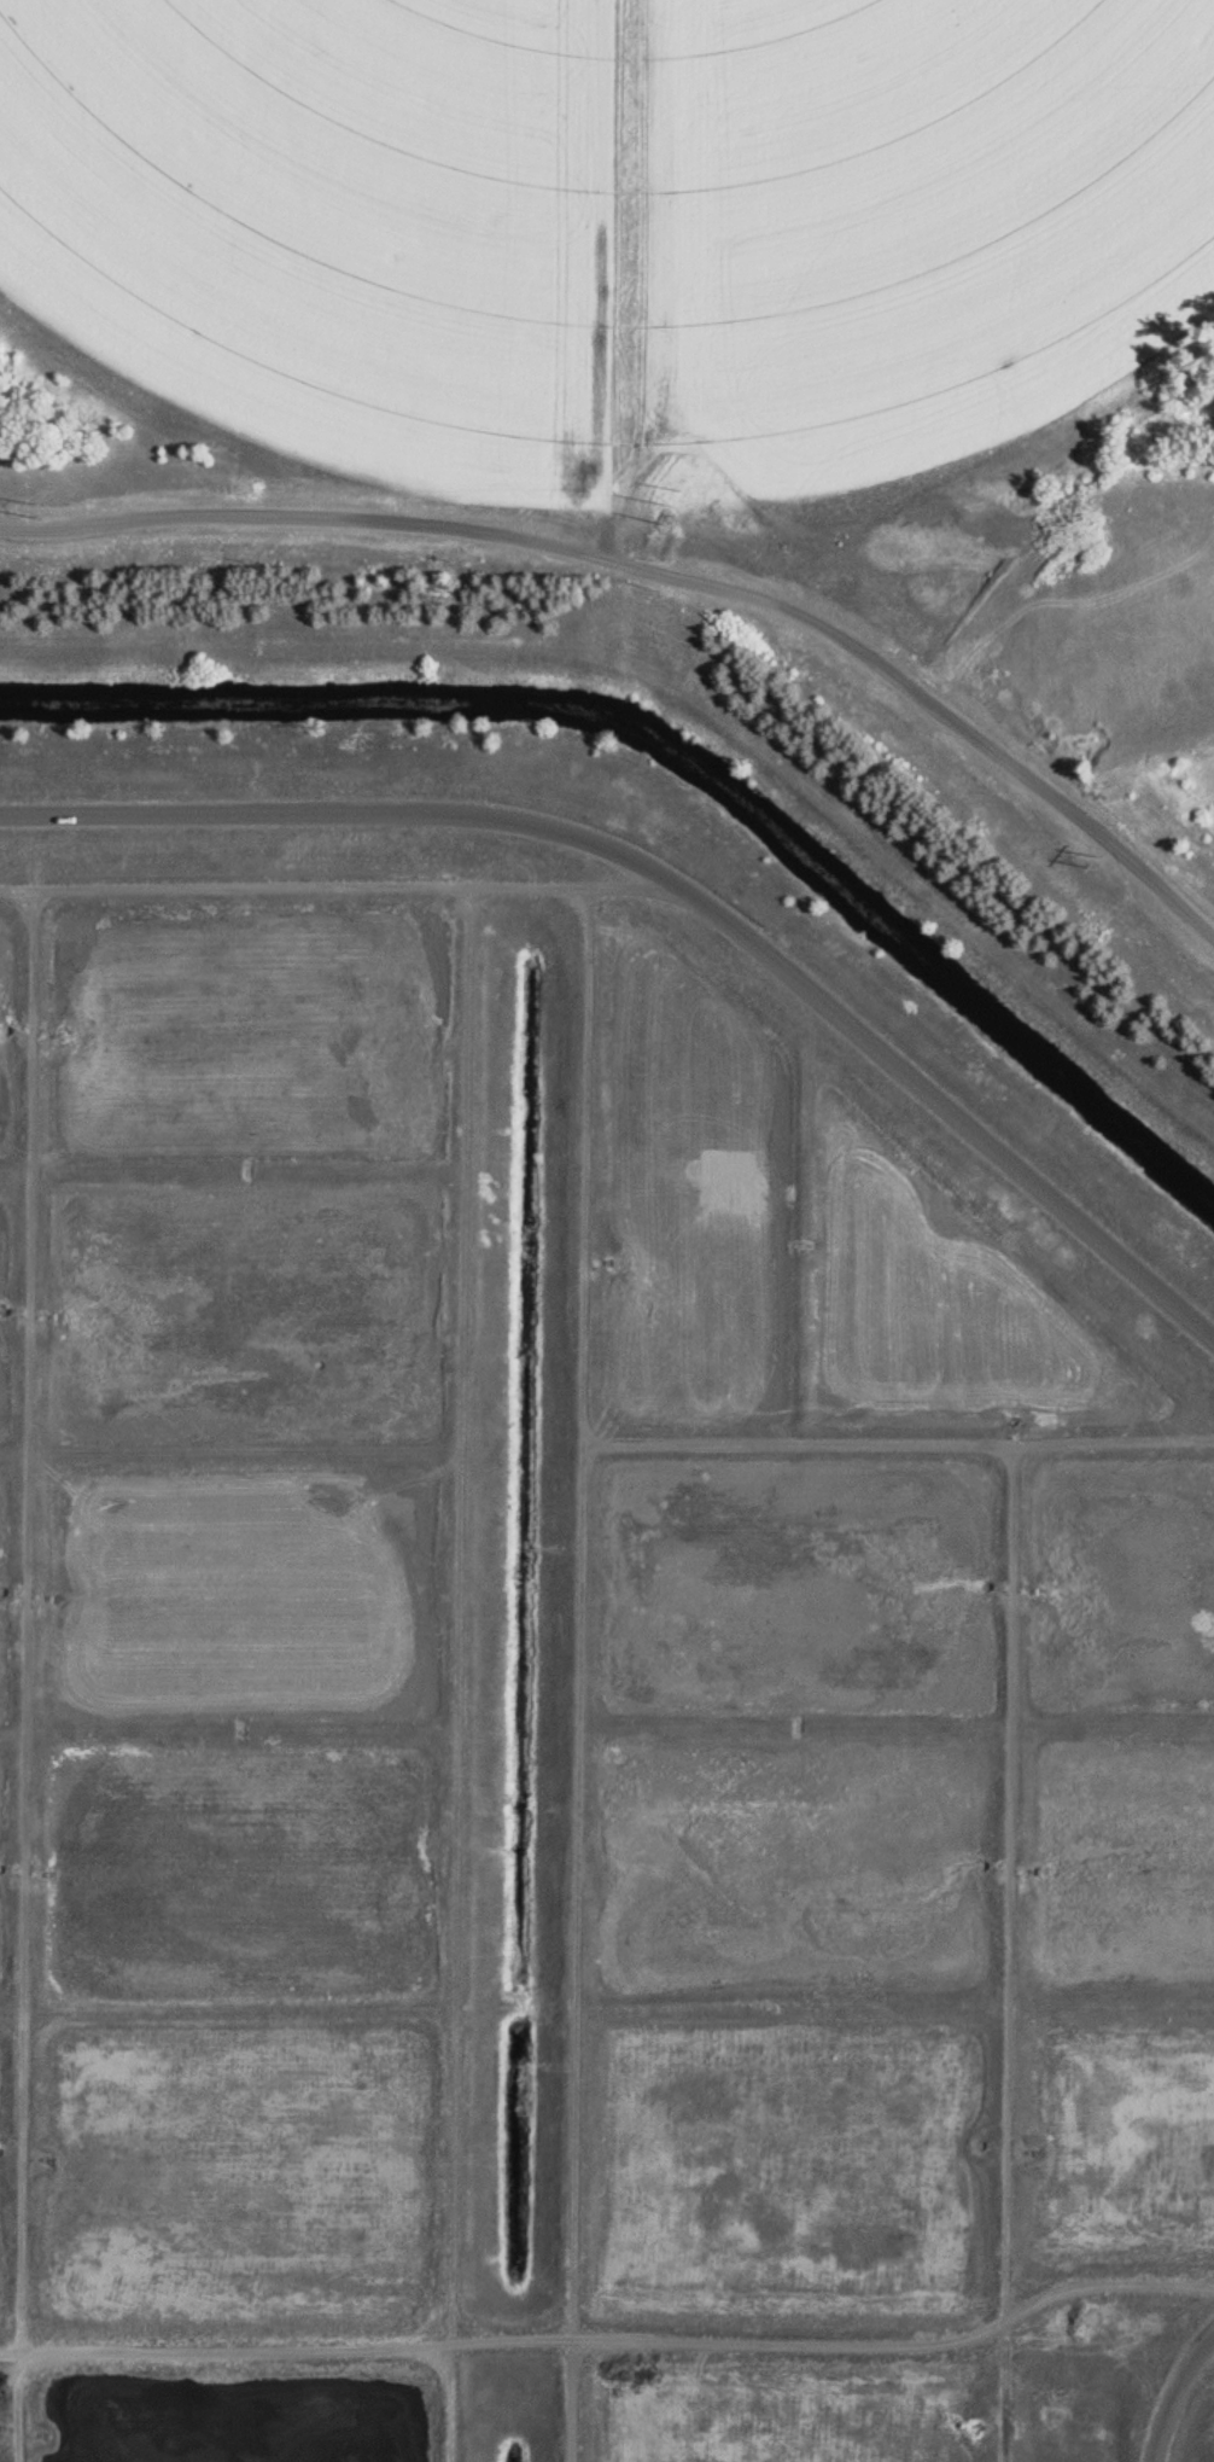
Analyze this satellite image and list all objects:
power tower: (681, 504)
power tower: (37, 505)
power tower: (1101, 860)
road: (682, 879)
road: (345, 890)
wastewater plant: (607, 1230)
road: (1178, 2398)

